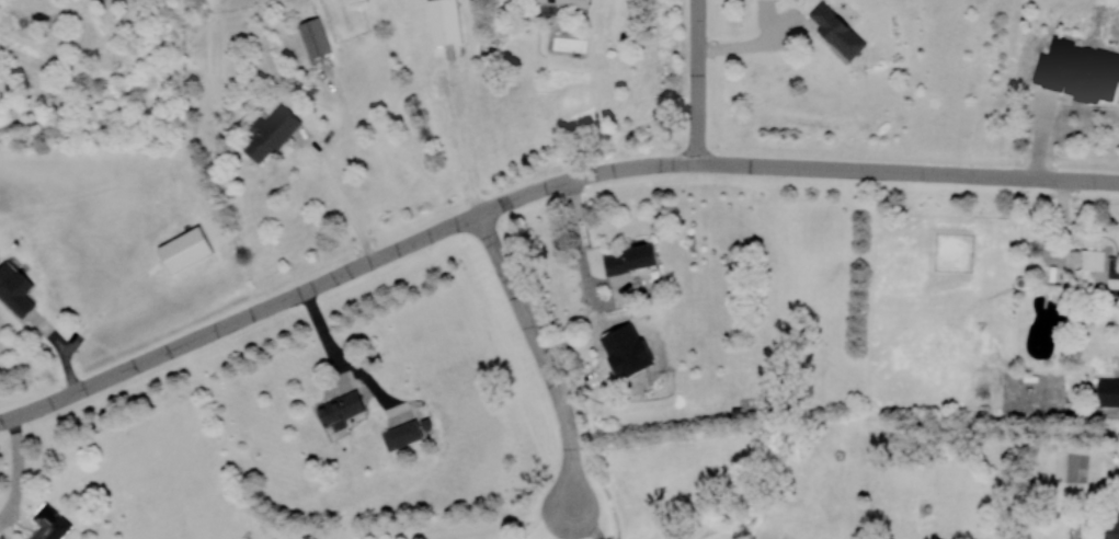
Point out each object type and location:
building: (444, 21)
building: (837, 31)
building: (313, 36)
road: (754, 47)
building: (1060, 65)
road: (697, 81)
building: (270, 133)
road: (907, 172)
road: (345, 205)
building: (185, 249)
building: (630, 259)
building: (1092, 260)
road: (343, 272)
building: (1114, 273)
building: (15, 290)
road: (541, 353)
building: (1108, 391)
building: (340, 410)
building: (402, 434)
road: (587, 519)
road: (553, 520)
building: (49, 524)
building: (1114, 526)
building: (2, 537)

